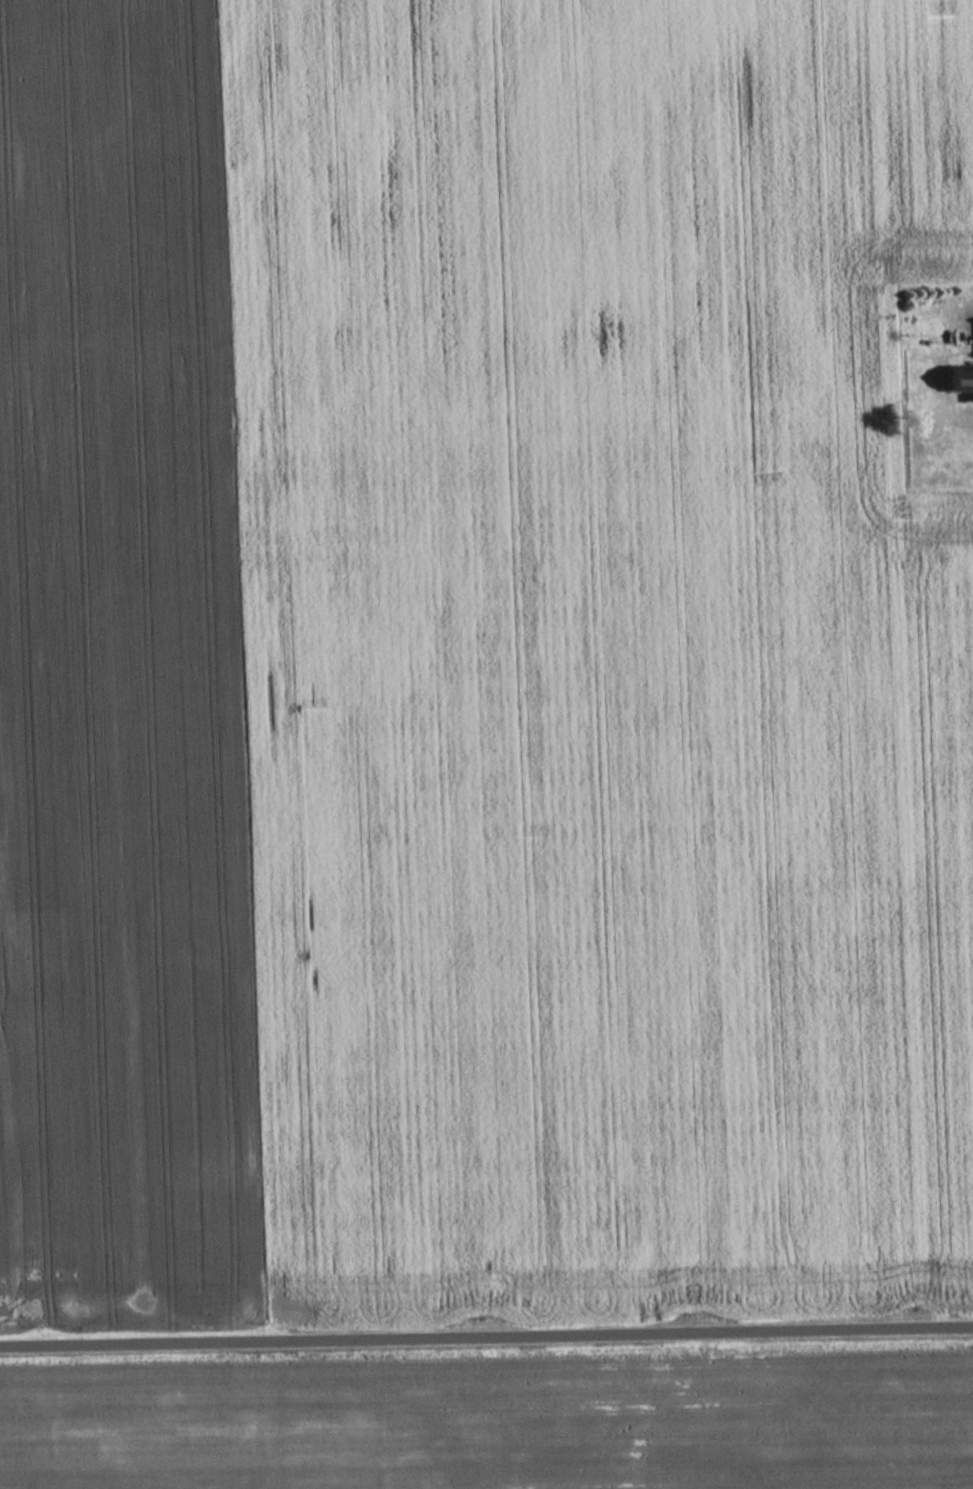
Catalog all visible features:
crop: (479, 658)
road: (486, 1338)
crop: (498, 1428)

